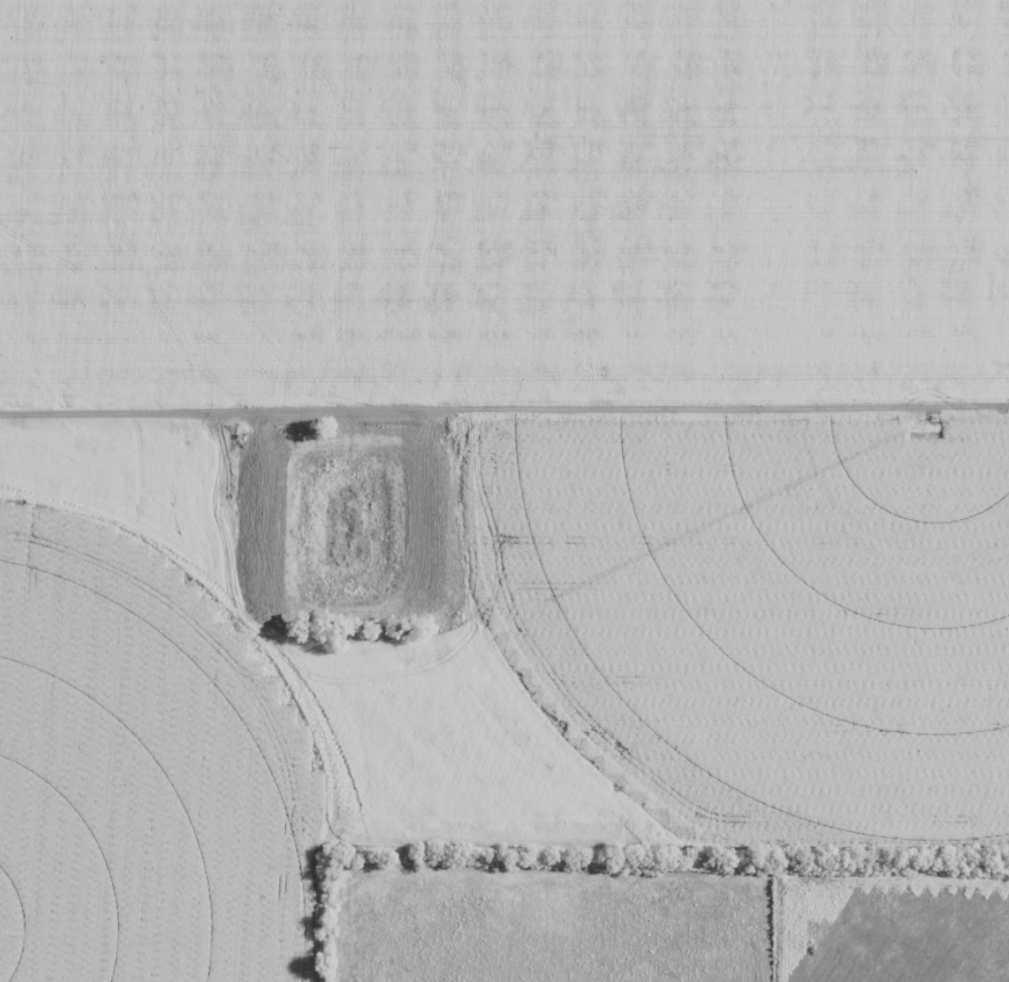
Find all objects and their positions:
road: (219, 437)

